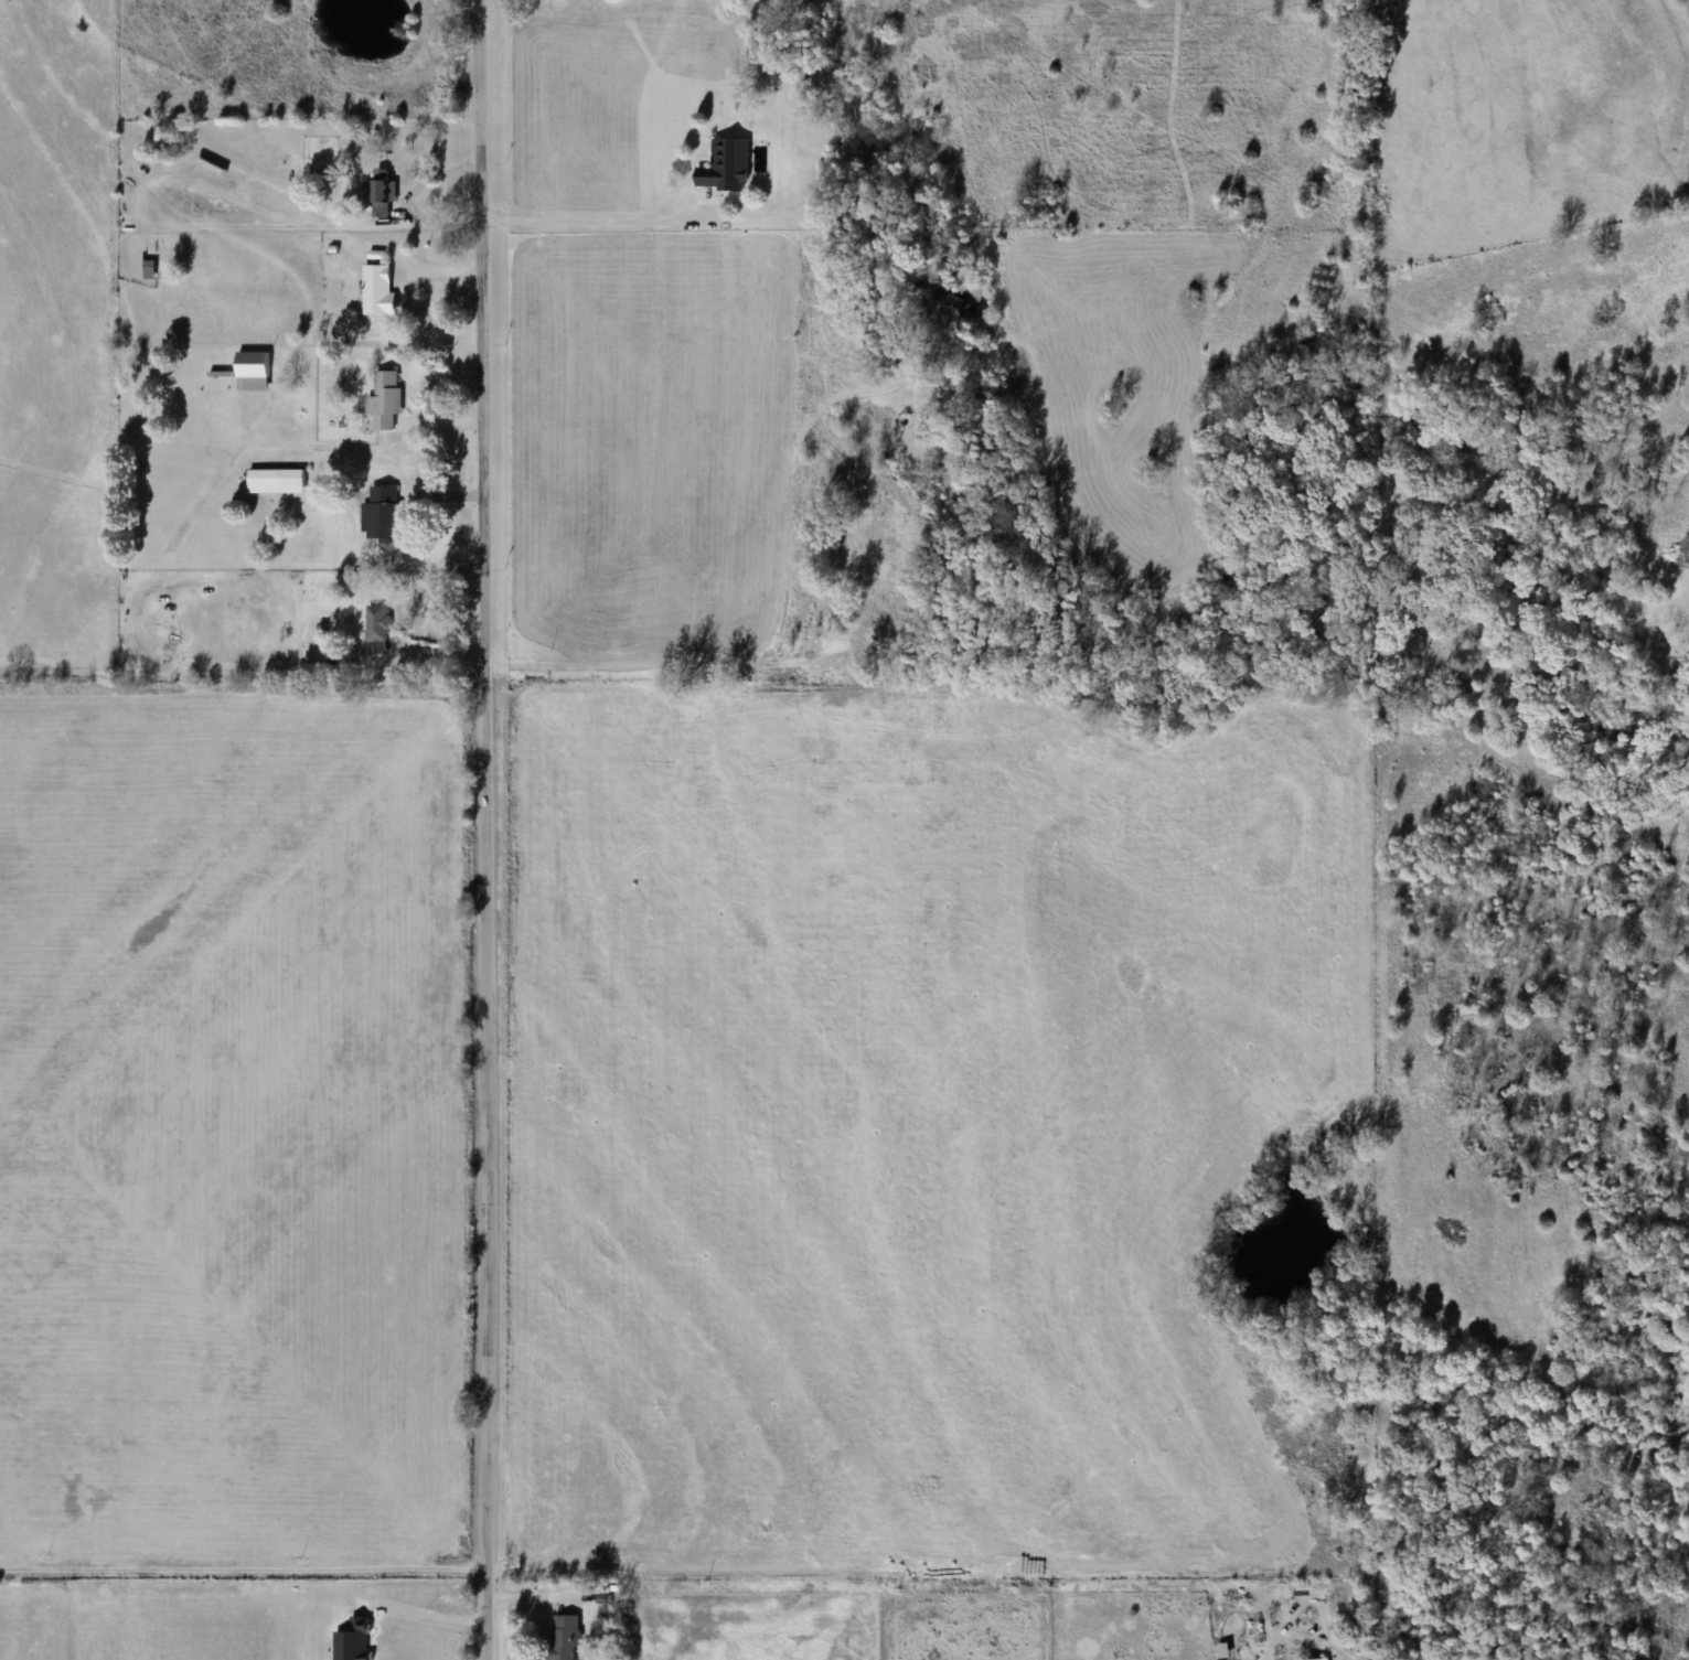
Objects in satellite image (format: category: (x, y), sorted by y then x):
building: (724, 165)
building: (382, 193)
road: (606, 221)
building: (148, 268)
building: (377, 290)
building: (875, 338)
building: (250, 371)
building: (384, 401)
building: (293, 479)
building: (382, 515)
road: (706, 585)
building: (375, 630)
road: (487, 829)
road: (244, 1572)
building: (564, 1636)
building: (1319, 1659)

